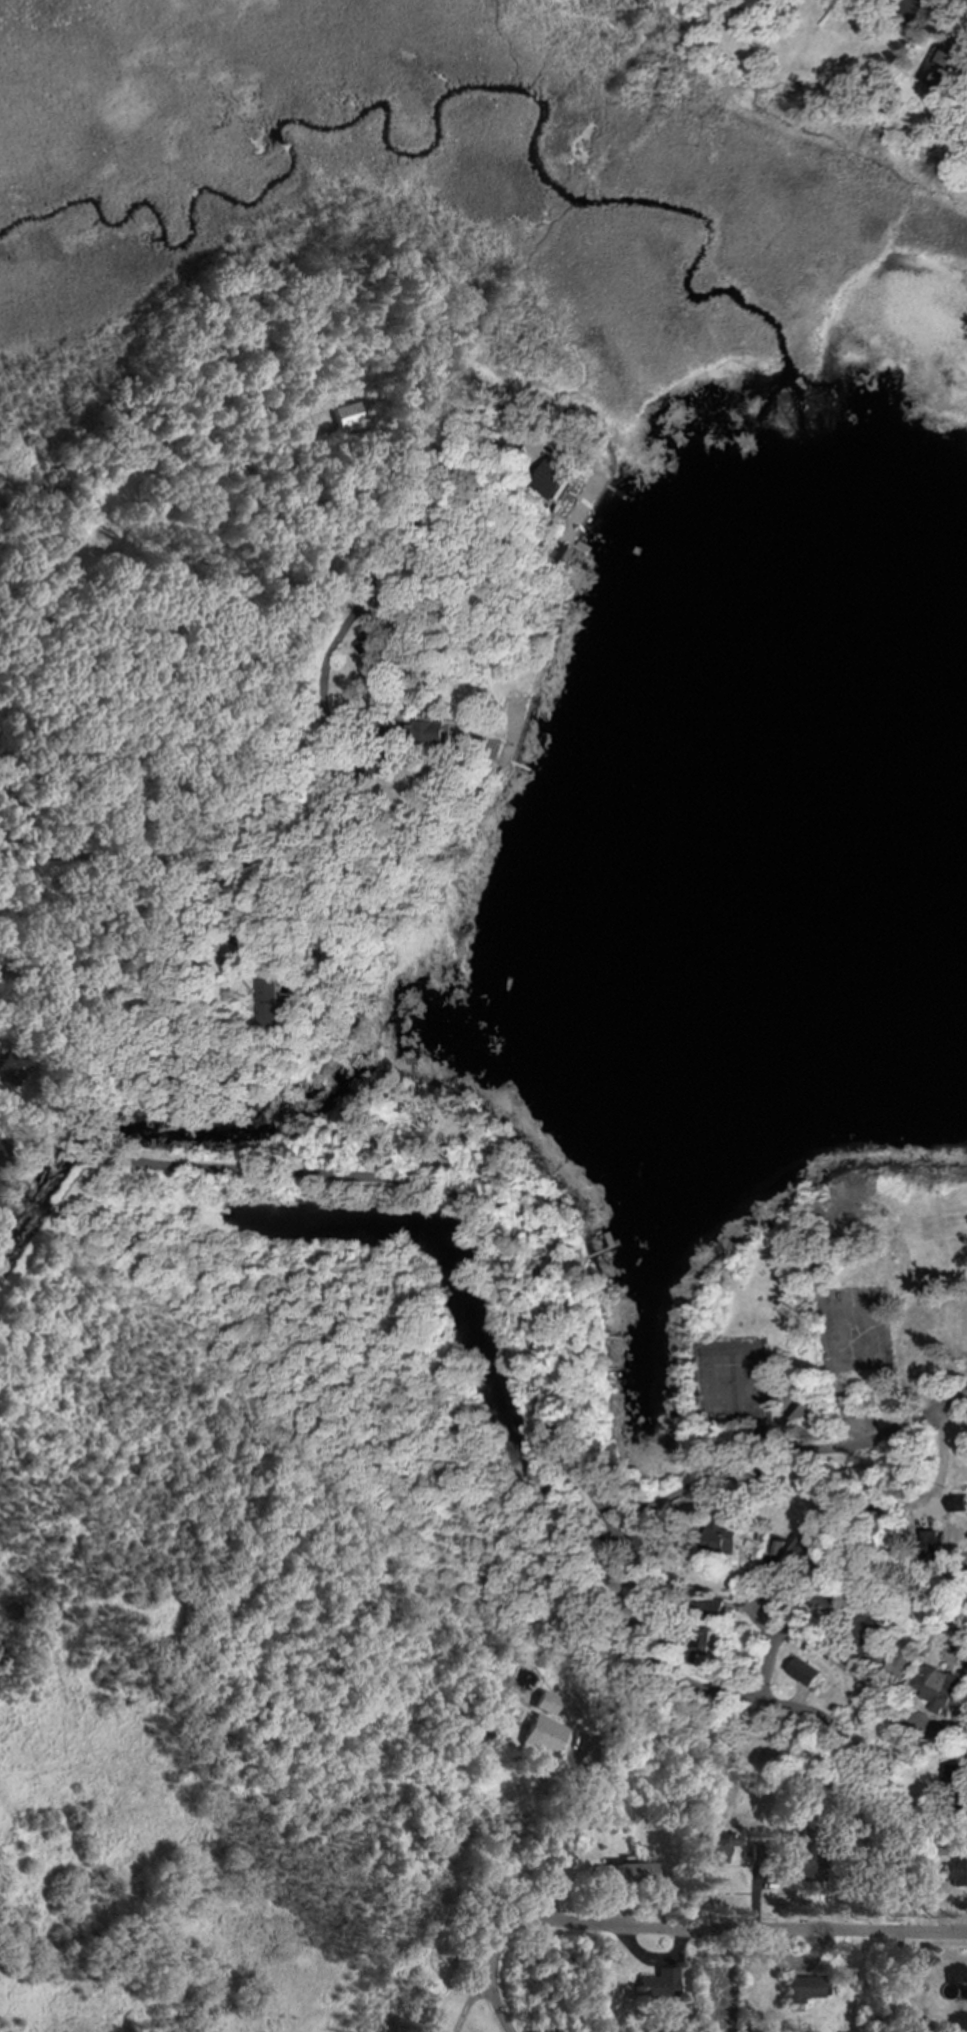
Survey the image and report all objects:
building: (914, 7)
building: (927, 74)
building: (348, 415)
building: (557, 479)
building: (436, 732)
road: (369, 744)
road: (326, 782)
road: (3, 953)
building: (275, 1003)
road: (47, 1039)
building: (11, 1067)
road: (105, 1142)
building: (2, 1153)
road: (451, 1202)
building: (801, 1411)
road: (807, 1445)
building: (957, 1503)
road: (625, 1504)
road: (607, 1524)
road: (627, 1526)
building: (724, 1537)
building: (831, 1605)
road: (767, 1609)
building: (717, 1610)
building: (869, 1637)
building: (702, 1643)
road: (839, 1664)
building: (902, 1665)
building: (804, 1671)
road: (681, 1679)
building: (939, 1688)
building: (547, 1702)
building: (543, 1735)
road: (863, 1773)
building: (954, 1776)
road: (571, 1803)
building: (716, 1847)
building: (810, 1863)
building: (957, 1872)
building: (633, 1873)
road: (752, 1928)
building: (659, 1985)
building: (801, 1990)

